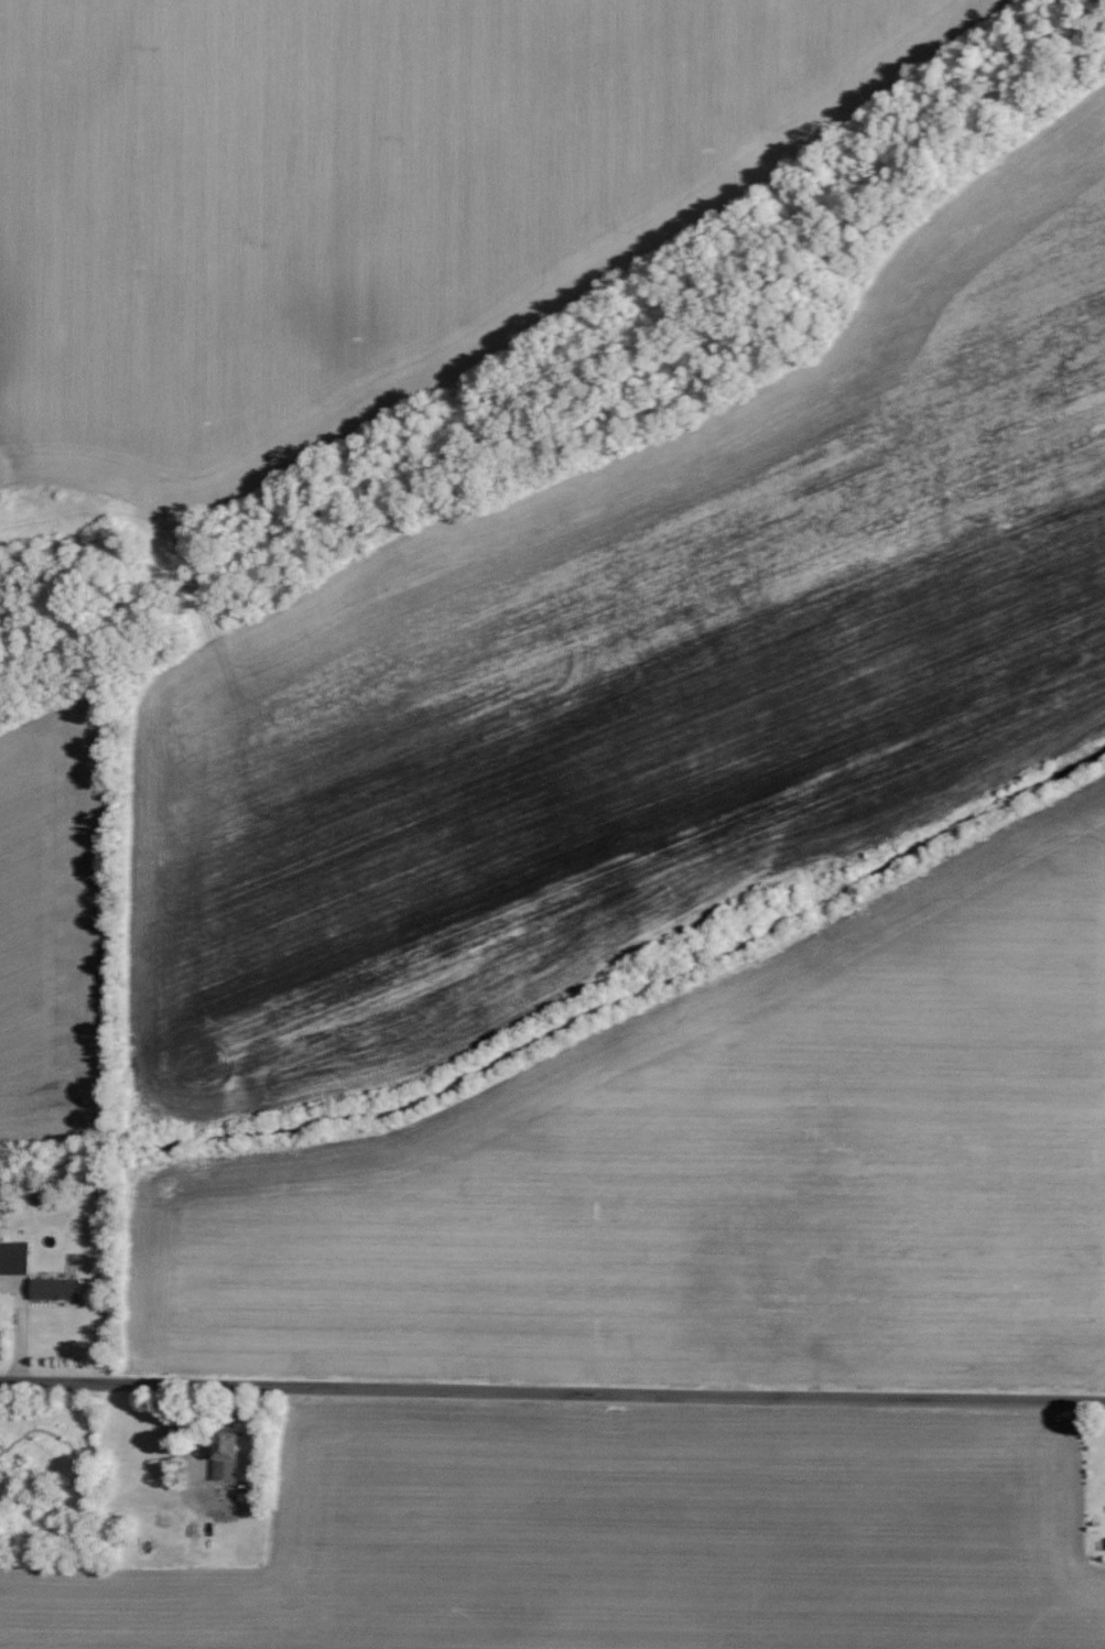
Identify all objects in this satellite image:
building: (15, 1258)
building: (58, 1289)
road: (552, 1389)
building: (229, 1456)

